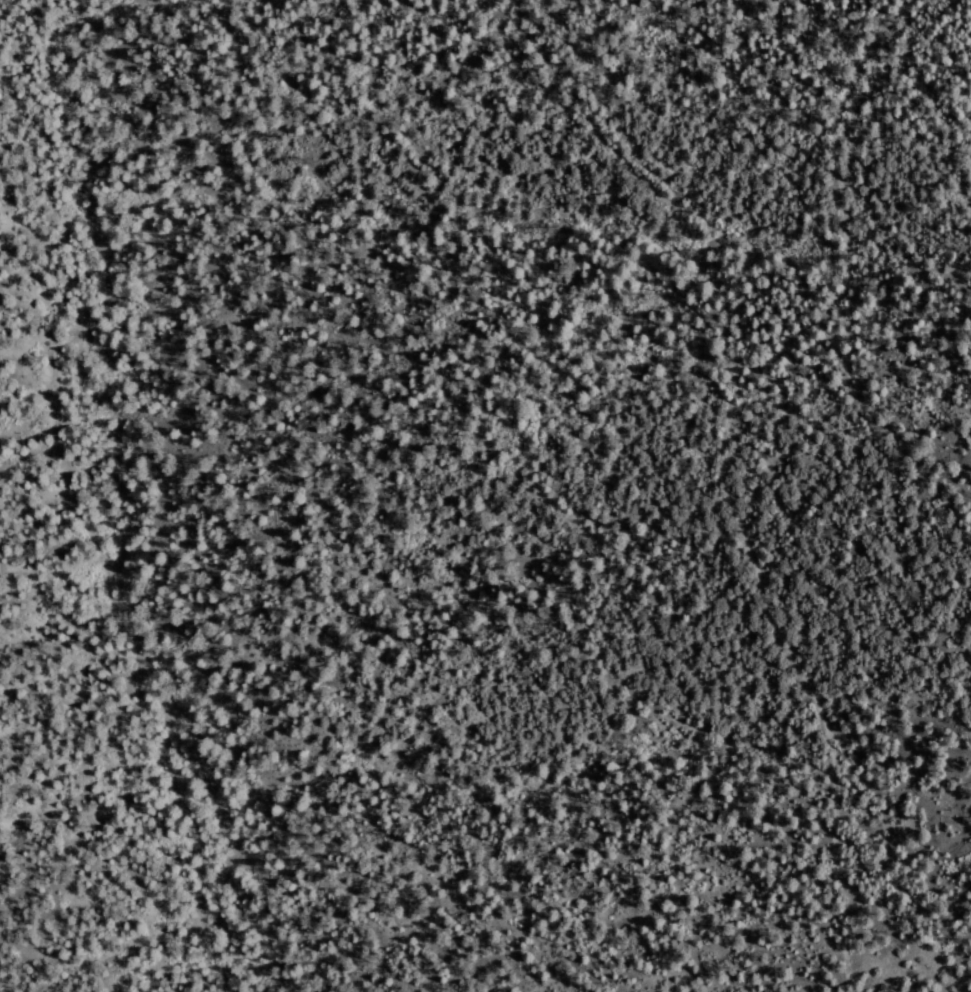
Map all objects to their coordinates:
road: (568, 470)
road: (734, 476)

